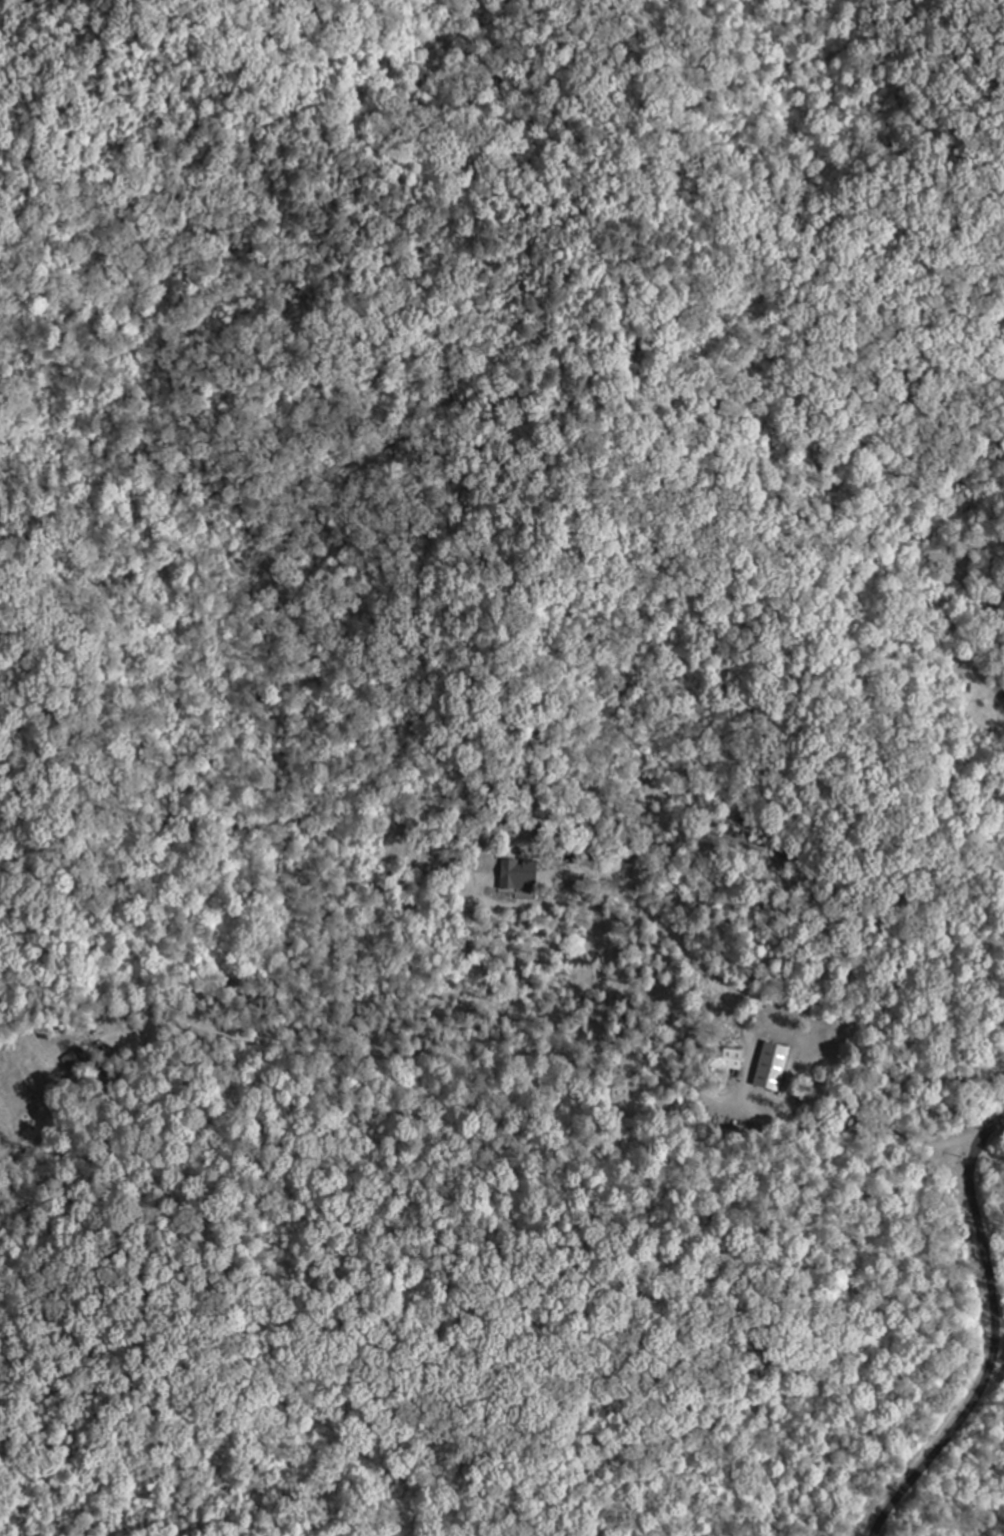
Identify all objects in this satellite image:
building: (519, 875)
building: (733, 1060)
building: (772, 1067)
road: (1001, 1341)

